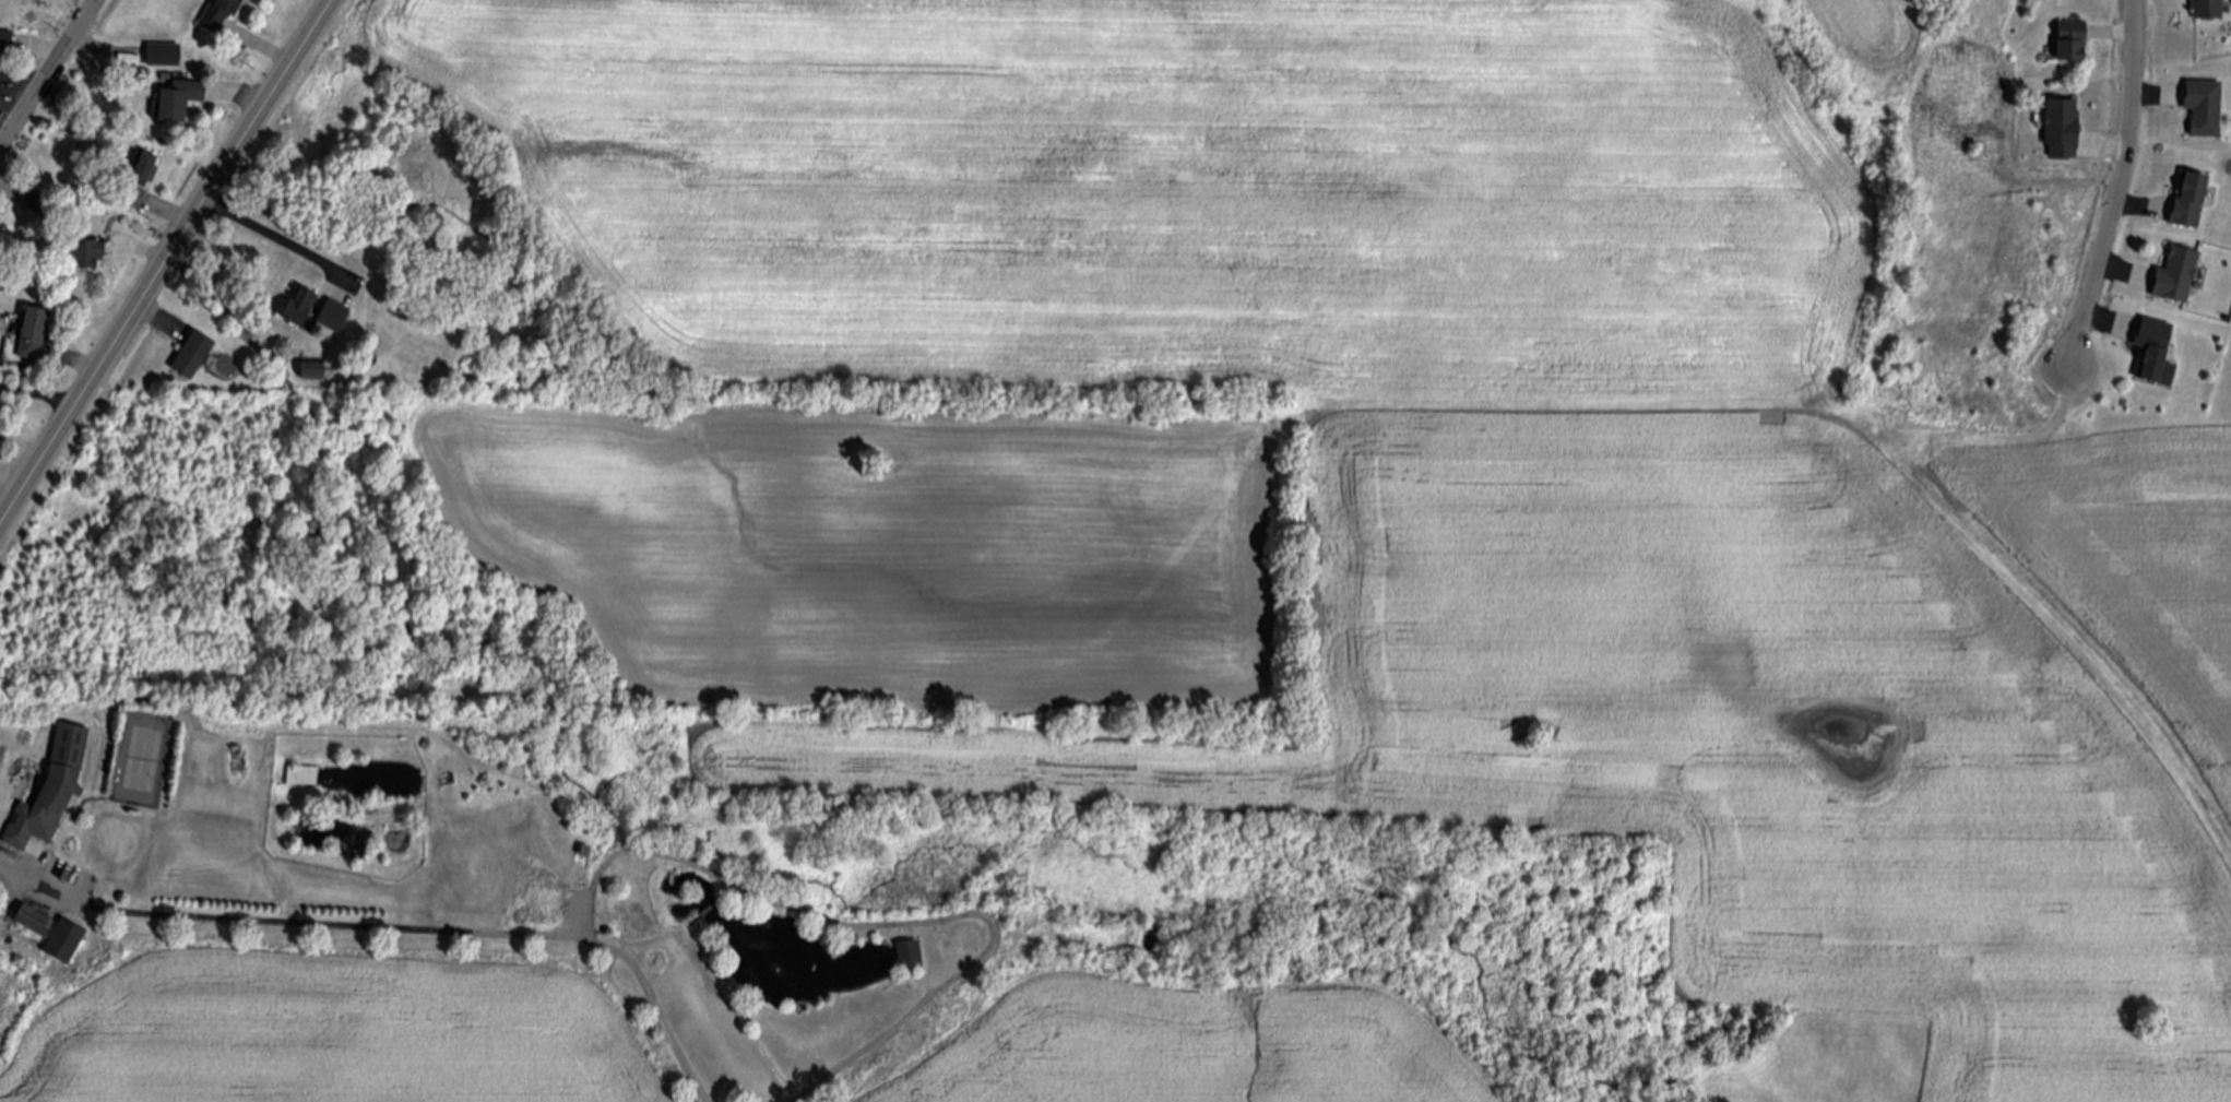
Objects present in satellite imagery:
building: (2209, 10)
building: (221, 15)
building: (7, 43)
building: (2073, 44)
building: (165, 56)
building: (0, 72)
road: (50, 75)
building: (0, 84)
building: (181, 100)
building: (2205, 107)
building: (2063, 130)
building: (141, 168)
road: (2117, 187)
building: (135, 199)
building: (38, 202)
building: (2191, 202)
road: (275, 239)
building: (86, 256)
road: (165, 262)
building: (2177, 275)
building: (297, 313)
building: (34, 335)
building: (2155, 353)
building: (194, 356)
building: (316, 371)
road: (38, 395)
crop: (1407, 463)
building: (305, 778)
building: (52, 792)
road: (274, 921)
building: (36, 922)
road: (888, 924)
building: (67, 943)
building: (911, 956)
road: (653, 998)
crop: (320, 1032)
crop: (1195, 1042)

